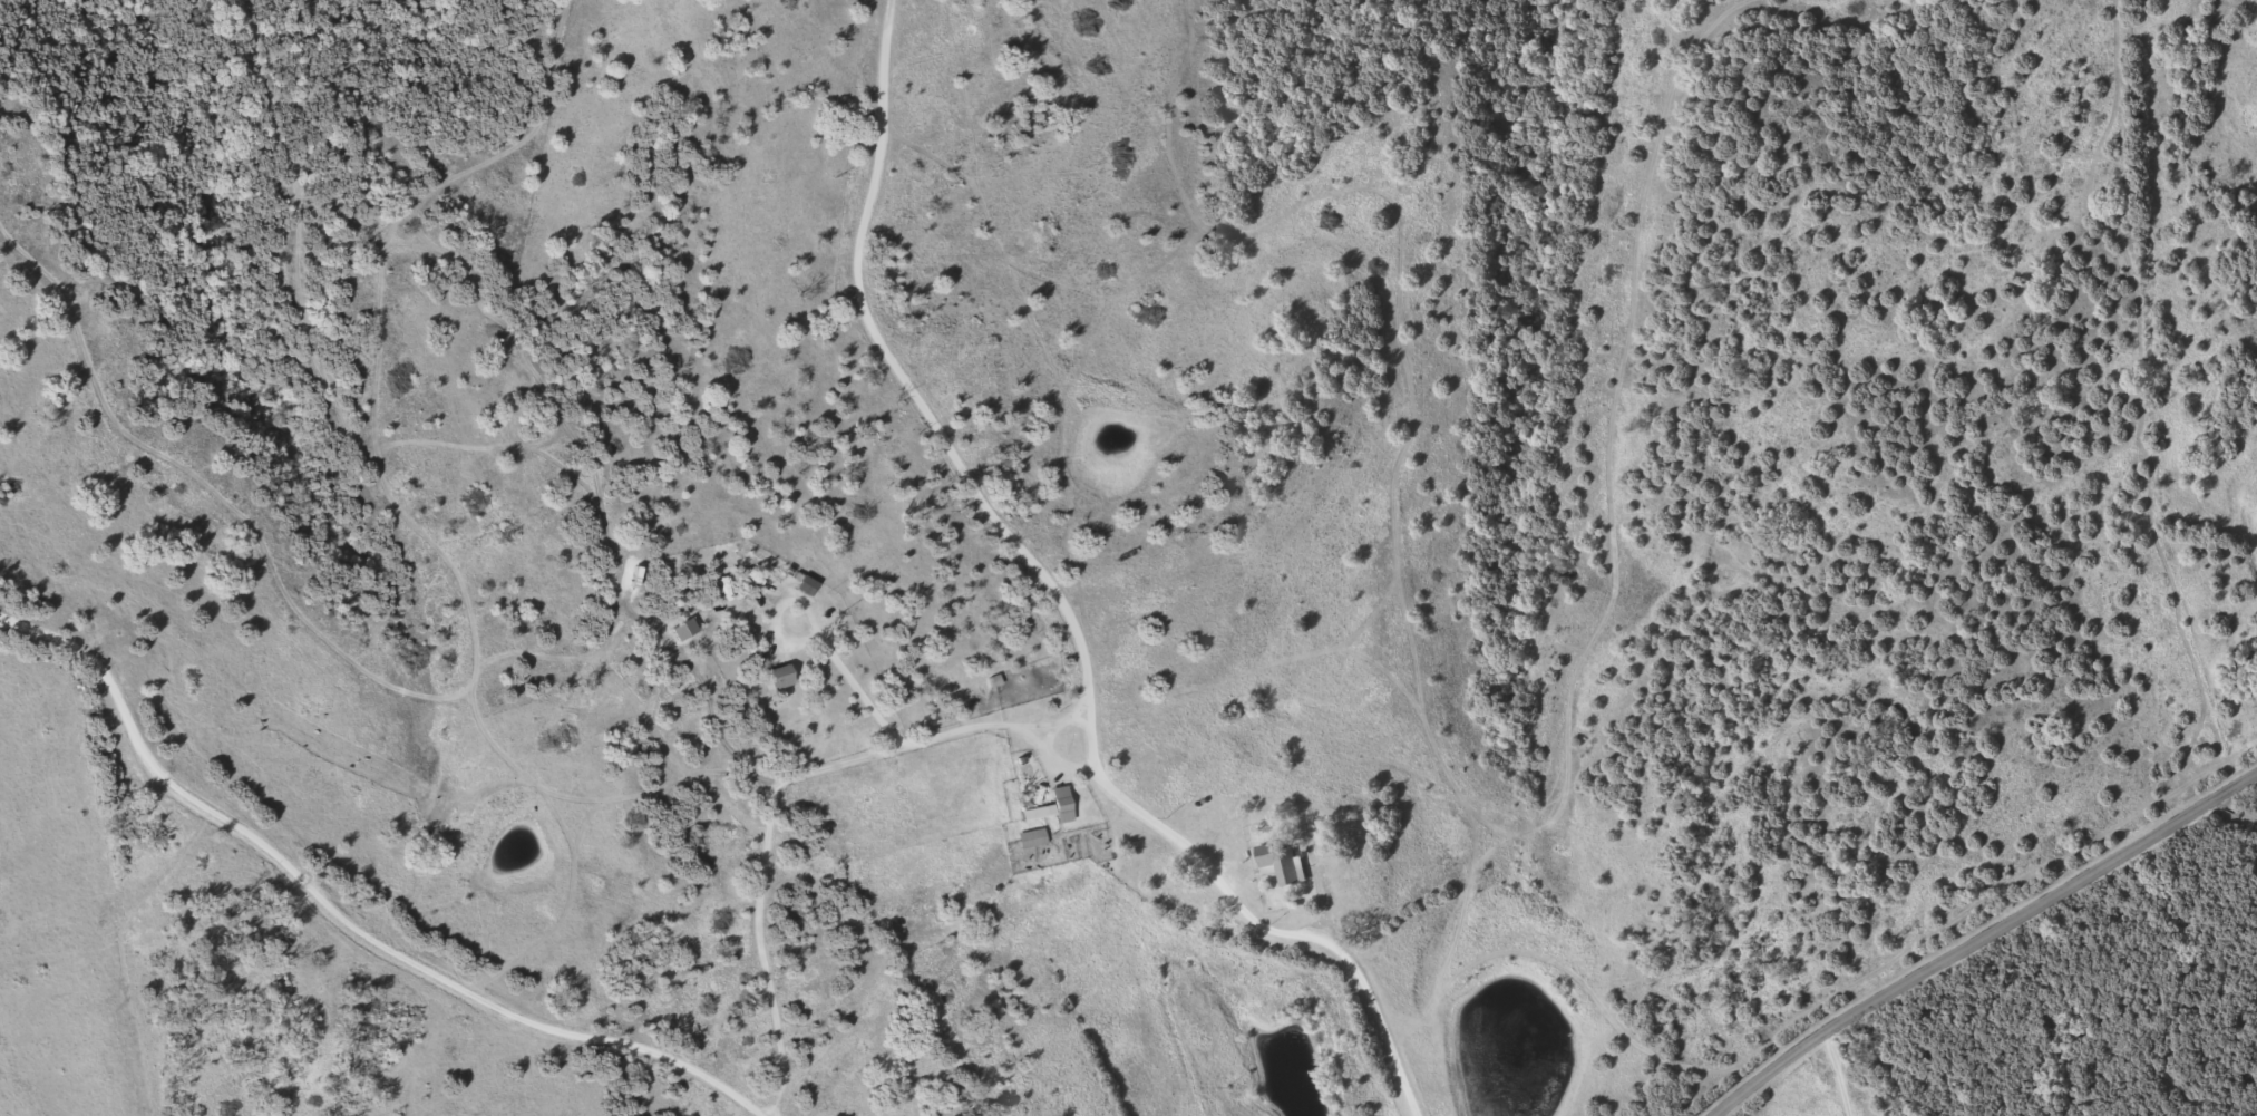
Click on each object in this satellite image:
road: (315, 282)
road: (1068, 600)
building: (779, 675)
road: (918, 748)
building: (1054, 806)
road: (2235, 814)
building: (1033, 838)
building: (1282, 861)
road: (340, 911)
road: (1982, 935)
road: (1836, 1075)

